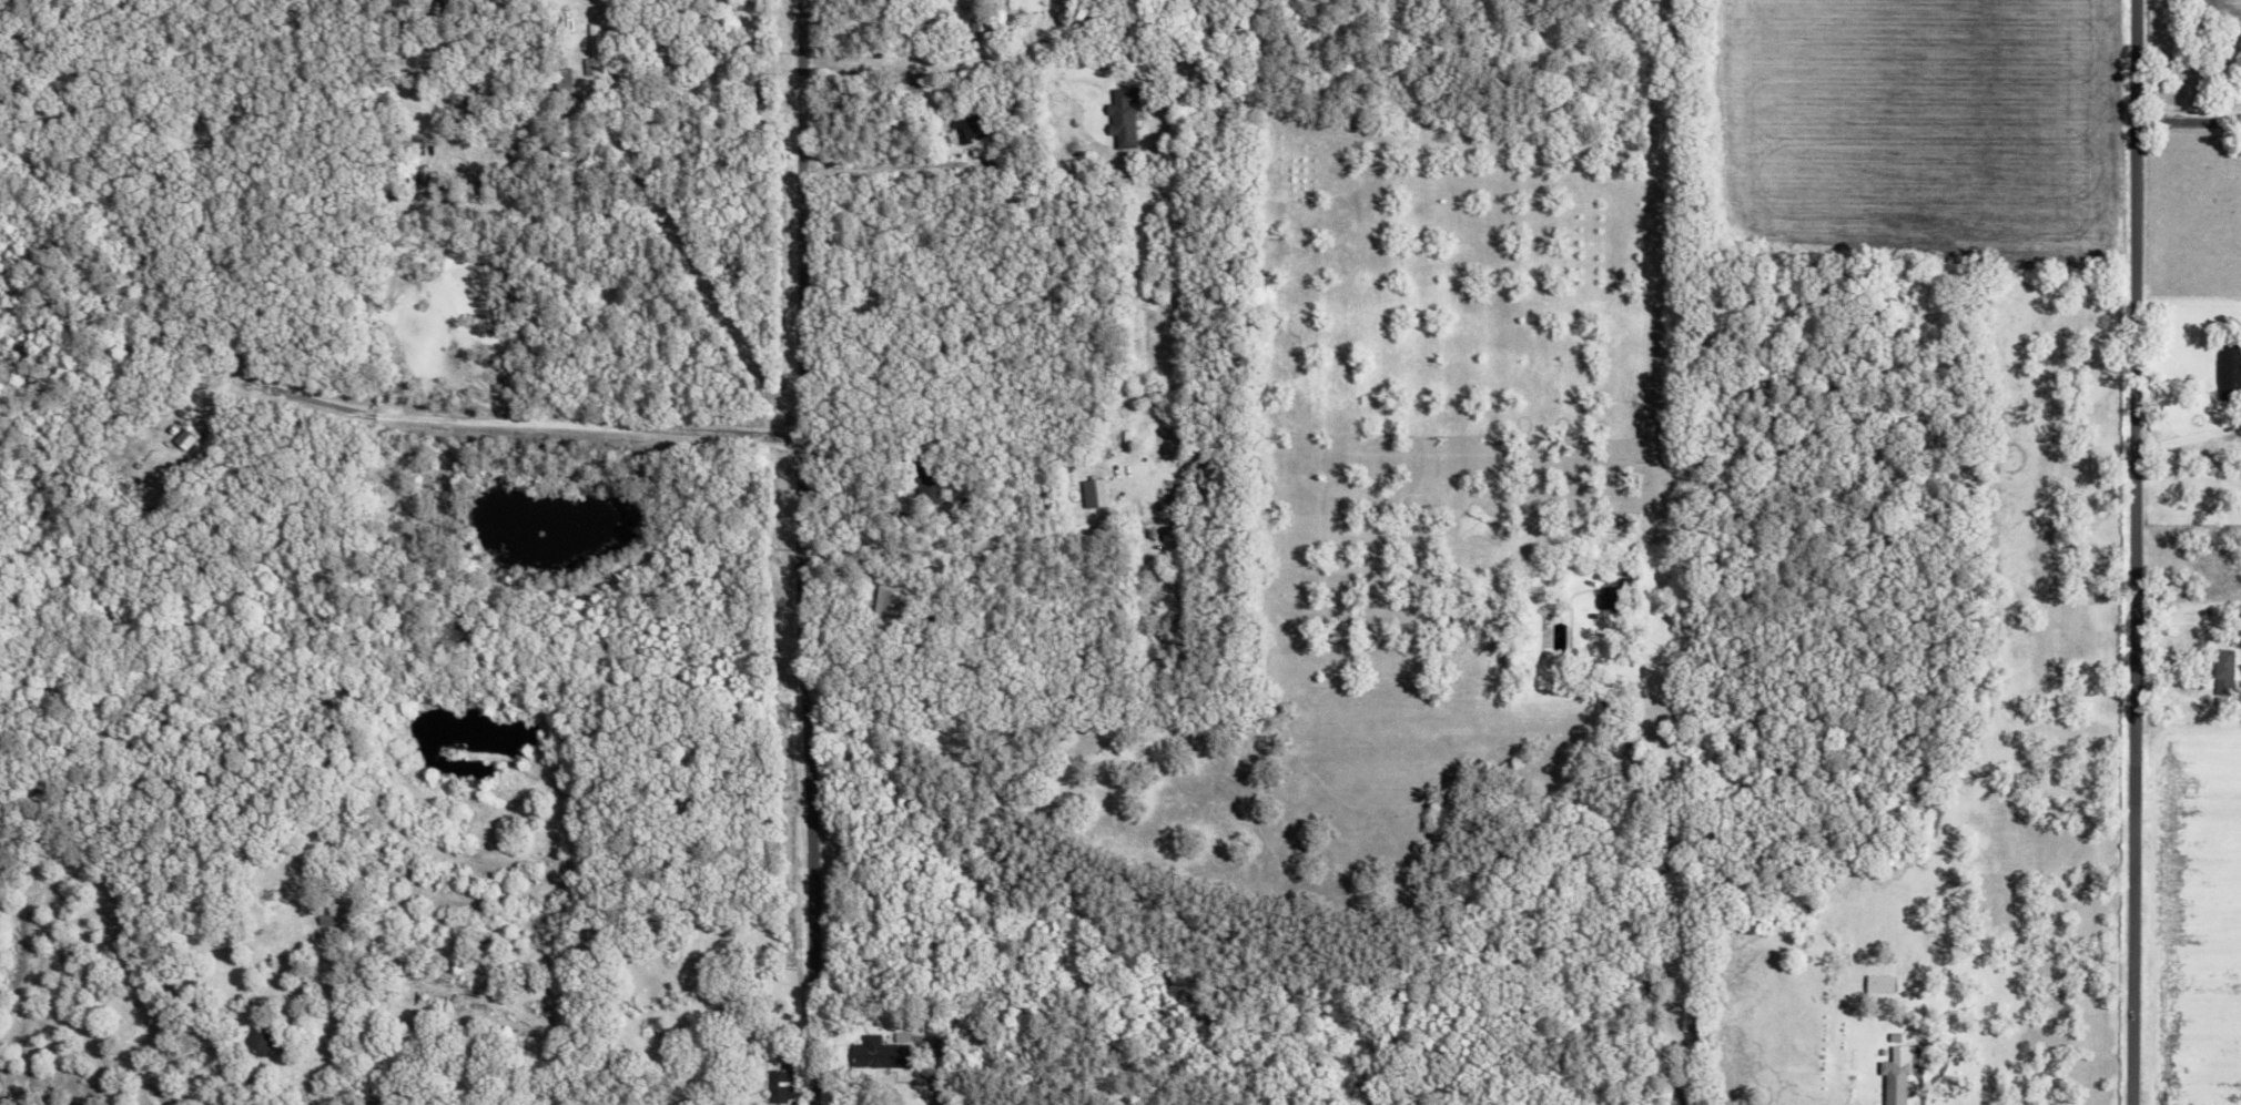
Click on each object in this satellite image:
building: (1057, 1)
building: (591, 52)
road: (969, 59)
building: (560, 82)
building: (1123, 116)
building: (971, 129)
road: (2199, 129)
road: (893, 163)
building: (2229, 371)
road: (519, 426)
building: (184, 439)
building: (141, 488)
building: (1093, 494)
road: (819, 552)
road: (2147, 552)
building: (1614, 596)
building: (2221, 671)
road: (1680, 894)
building: (326, 916)
building: (1879, 984)
building: (255, 1041)
building: (875, 1053)
building: (1894, 1076)
building: (777, 1087)

